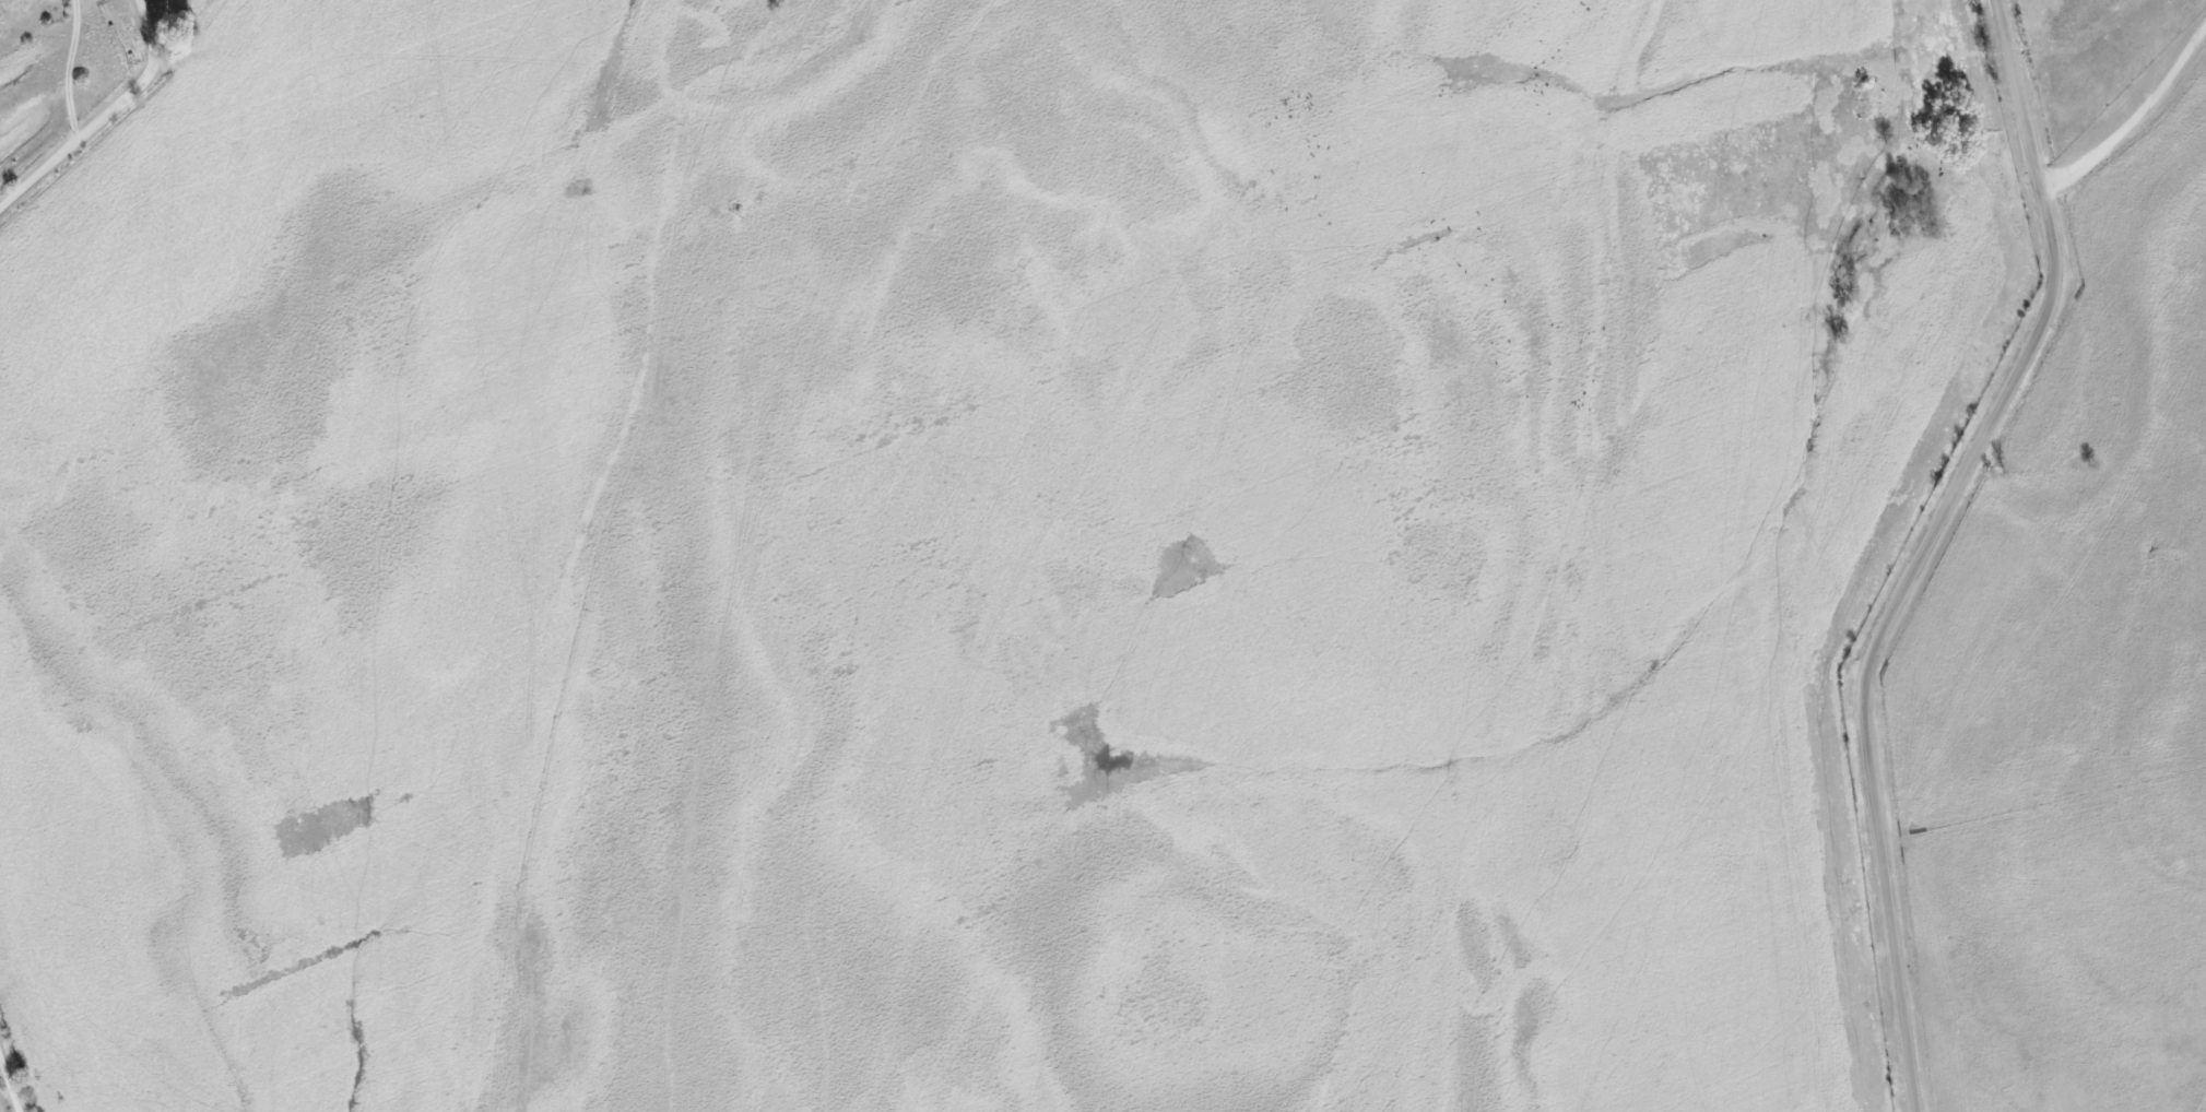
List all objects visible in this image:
road: (68, 68)
road: (101, 113)
road: (2135, 118)
road: (1927, 546)
road: (9, 1084)

